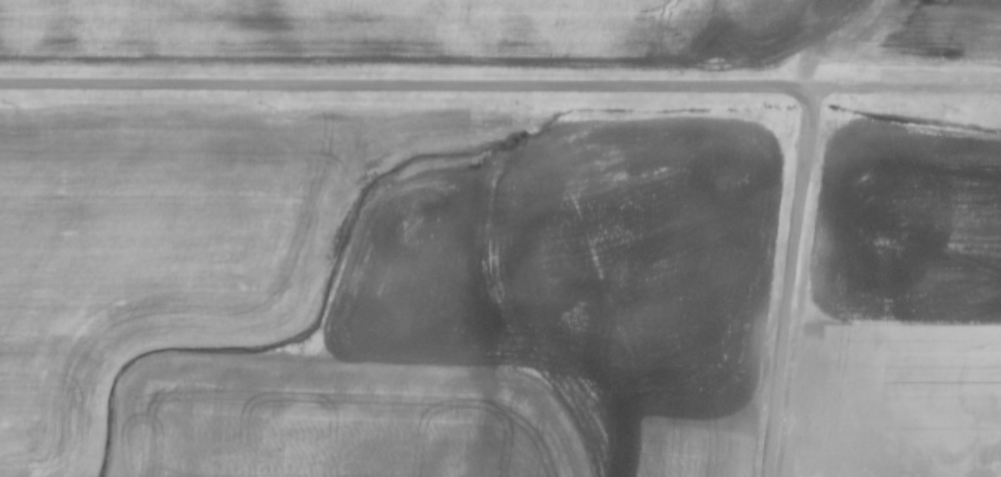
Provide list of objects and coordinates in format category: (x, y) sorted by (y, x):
road: (409, 89)
road: (910, 89)
road: (797, 282)

